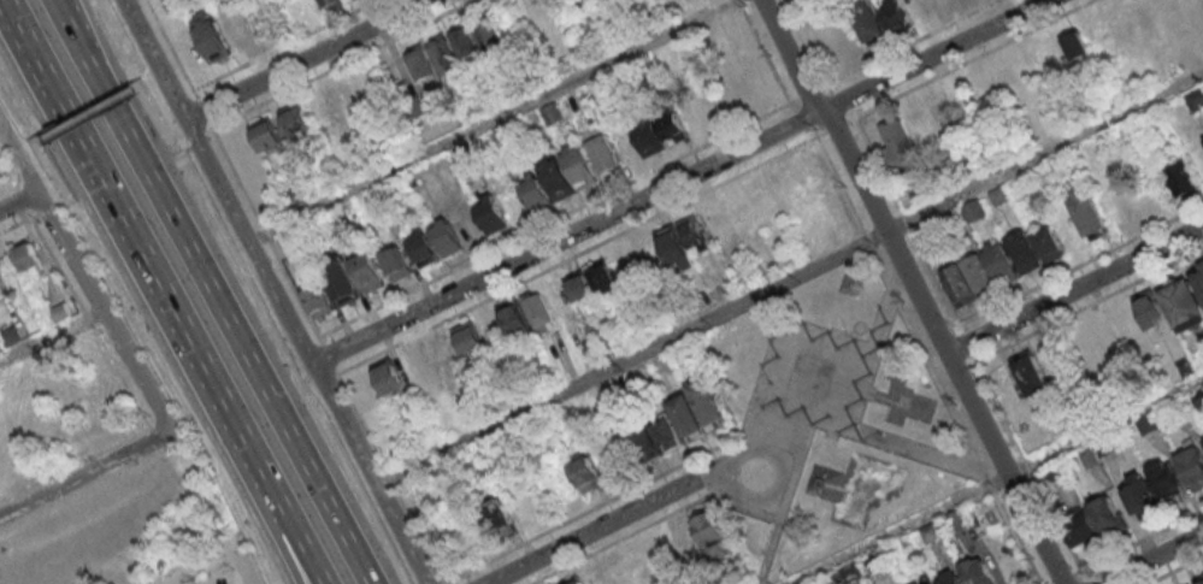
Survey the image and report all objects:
building: (350, 0)
building: (601, 0)
building: (332, 4)
building: (895, 14)
road: (59, 17)
road: (64, 17)
building: (868, 20)
building: (488, 34)
building: (222, 36)
building: (465, 43)
building: (1077, 46)
road: (896, 52)
building: (443, 54)
road: (303, 59)
road: (975, 59)
building: (420, 63)
building: (738, 90)
building: (1195, 98)
building: (938, 110)
road: (87, 111)
road: (802, 117)
building: (296, 119)
road: (486, 119)
building: (916, 120)
building: (672, 126)
building: (894, 132)
building: (267, 135)
building: (649, 138)
road: (181, 141)
building: (601, 153)
building: (579, 166)
building: (556, 177)
building: (1181, 178)
road: (5, 179)
road: (679, 182)
road: (14, 187)
building: (537, 194)
road: (17, 200)
road: (53, 203)
building: (974, 210)
building: (1087, 210)
building: (491, 214)
building: (695, 232)
building: (446, 236)
building: (1049, 244)
building: (423, 247)
building: (674, 247)
building: (1024, 252)
building: (26, 254)
road: (138, 258)
building: (397, 262)
building: (1002, 264)
building: (370, 271)
building: (979, 275)
road: (82, 276)
building: (603, 278)
road: (789, 278)
building: (342, 282)
building: (579, 285)
building: (959, 285)
road: (1075, 287)
road: (916, 288)
building: (2, 294)
road: (271, 294)
building: (318, 300)
building: (1183, 305)
building: (1150, 308)
road: (217, 309)
building: (59, 312)
building: (538, 312)
road: (88, 323)
building: (515, 323)
road: (959, 324)
building: (470, 340)
building: (0, 347)
building: (444, 353)
road: (928, 355)
building: (1031, 373)
building: (388, 376)
building: (1197, 397)
building: (700, 408)
park: (832, 418)
building: (656, 437)
road: (72, 455)
building: (1089, 456)
building: (1192, 464)
road: (84, 473)
building: (585, 473)
road: (997, 479)
building: (1164, 479)
building: (1140, 492)
road: (81, 496)
building: (1109, 514)
building: (502, 517)
road: (620, 517)
building: (956, 520)
building: (1081, 527)
building: (932, 531)
building: (704, 536)
road: (288, 550)
road: (293, 550)
road: (1151, 559)
road: (241, 567)
road: (1177, 571)
building: (977, 572)
building: (950, 578)
road: (1066, 579)
building: (574, 580)
building: (920, 583)
building: (1201, 583)

